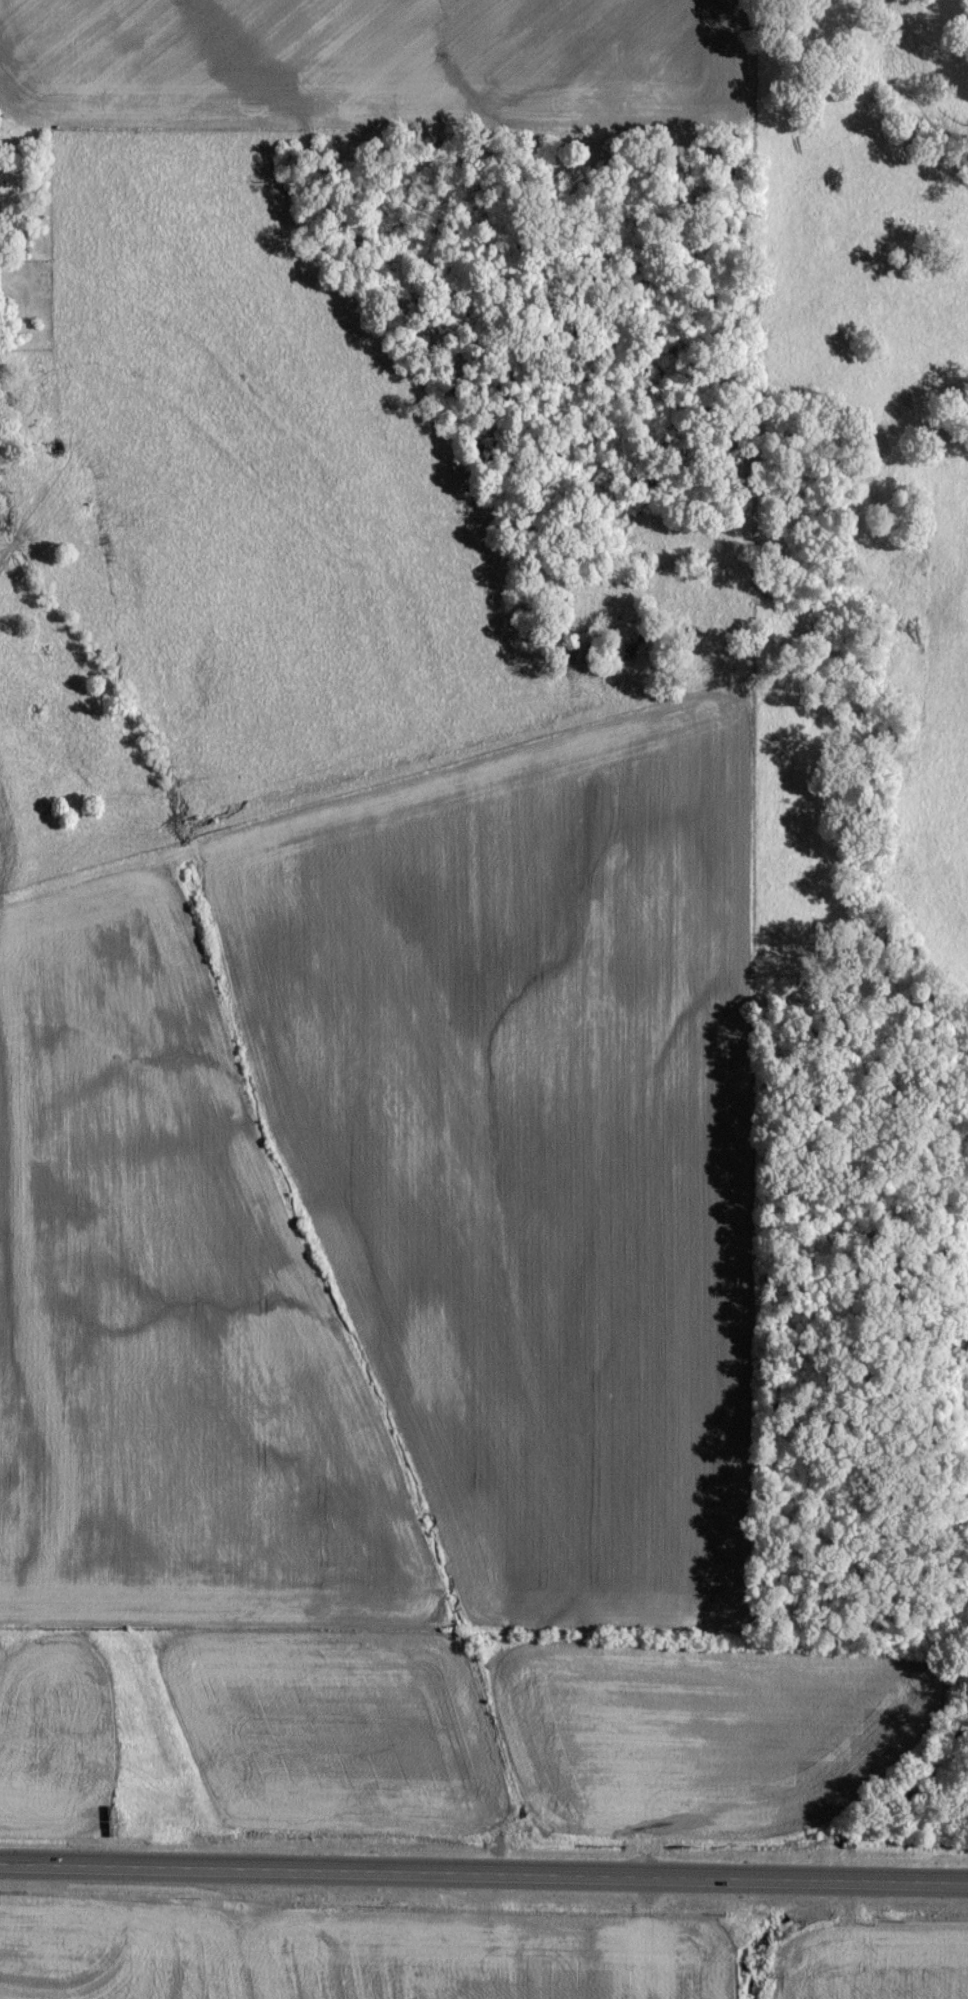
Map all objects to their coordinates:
road: (484, 1876)

